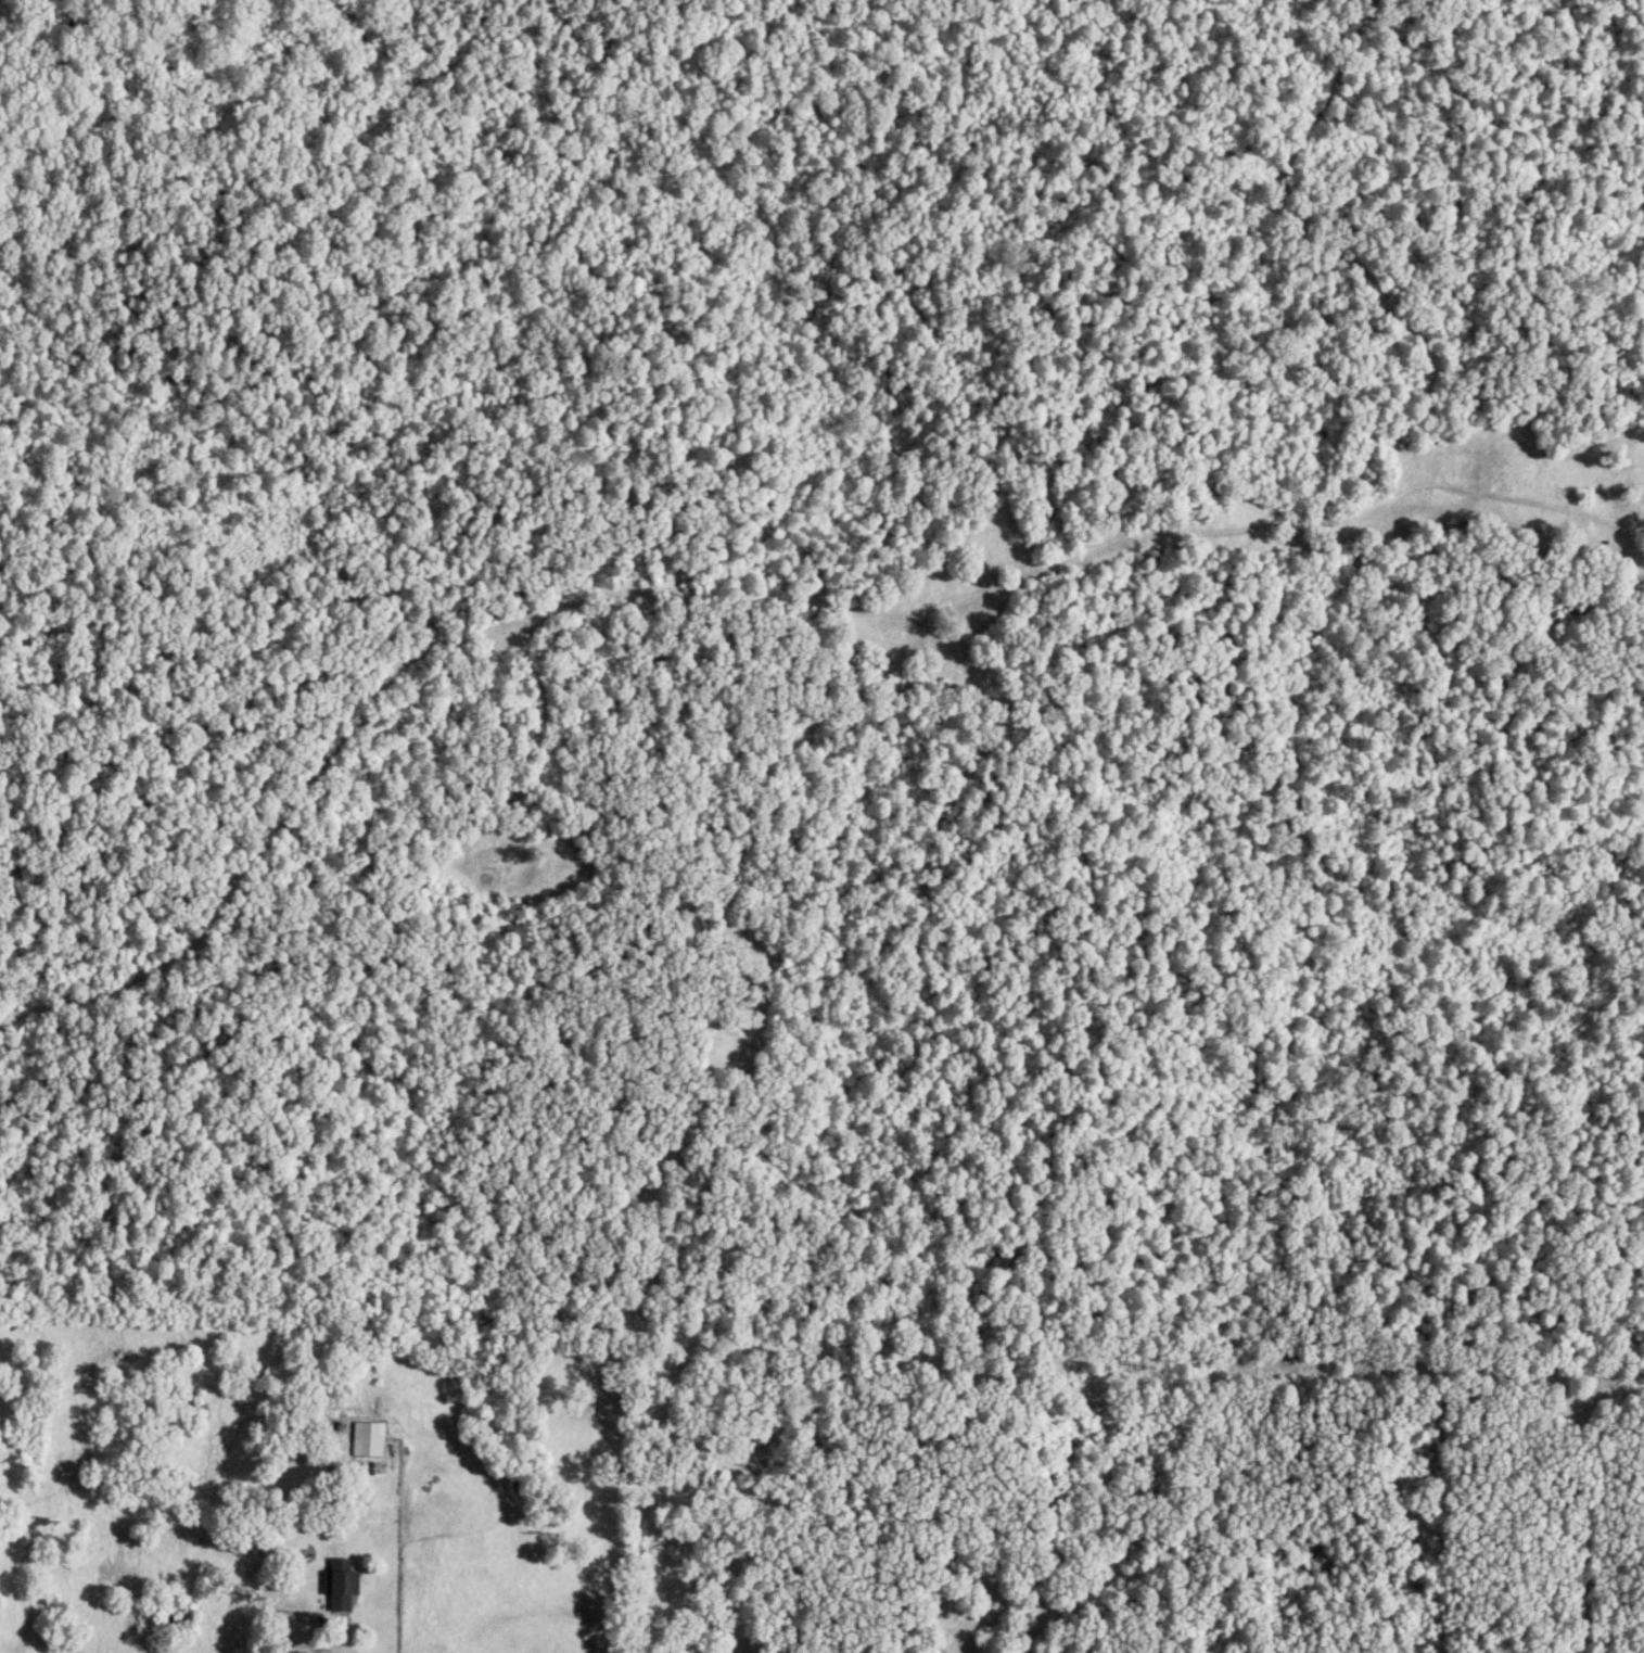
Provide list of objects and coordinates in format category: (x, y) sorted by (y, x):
building: (366, 1440)
building: (339, 1586)
road: (336, 1645)

